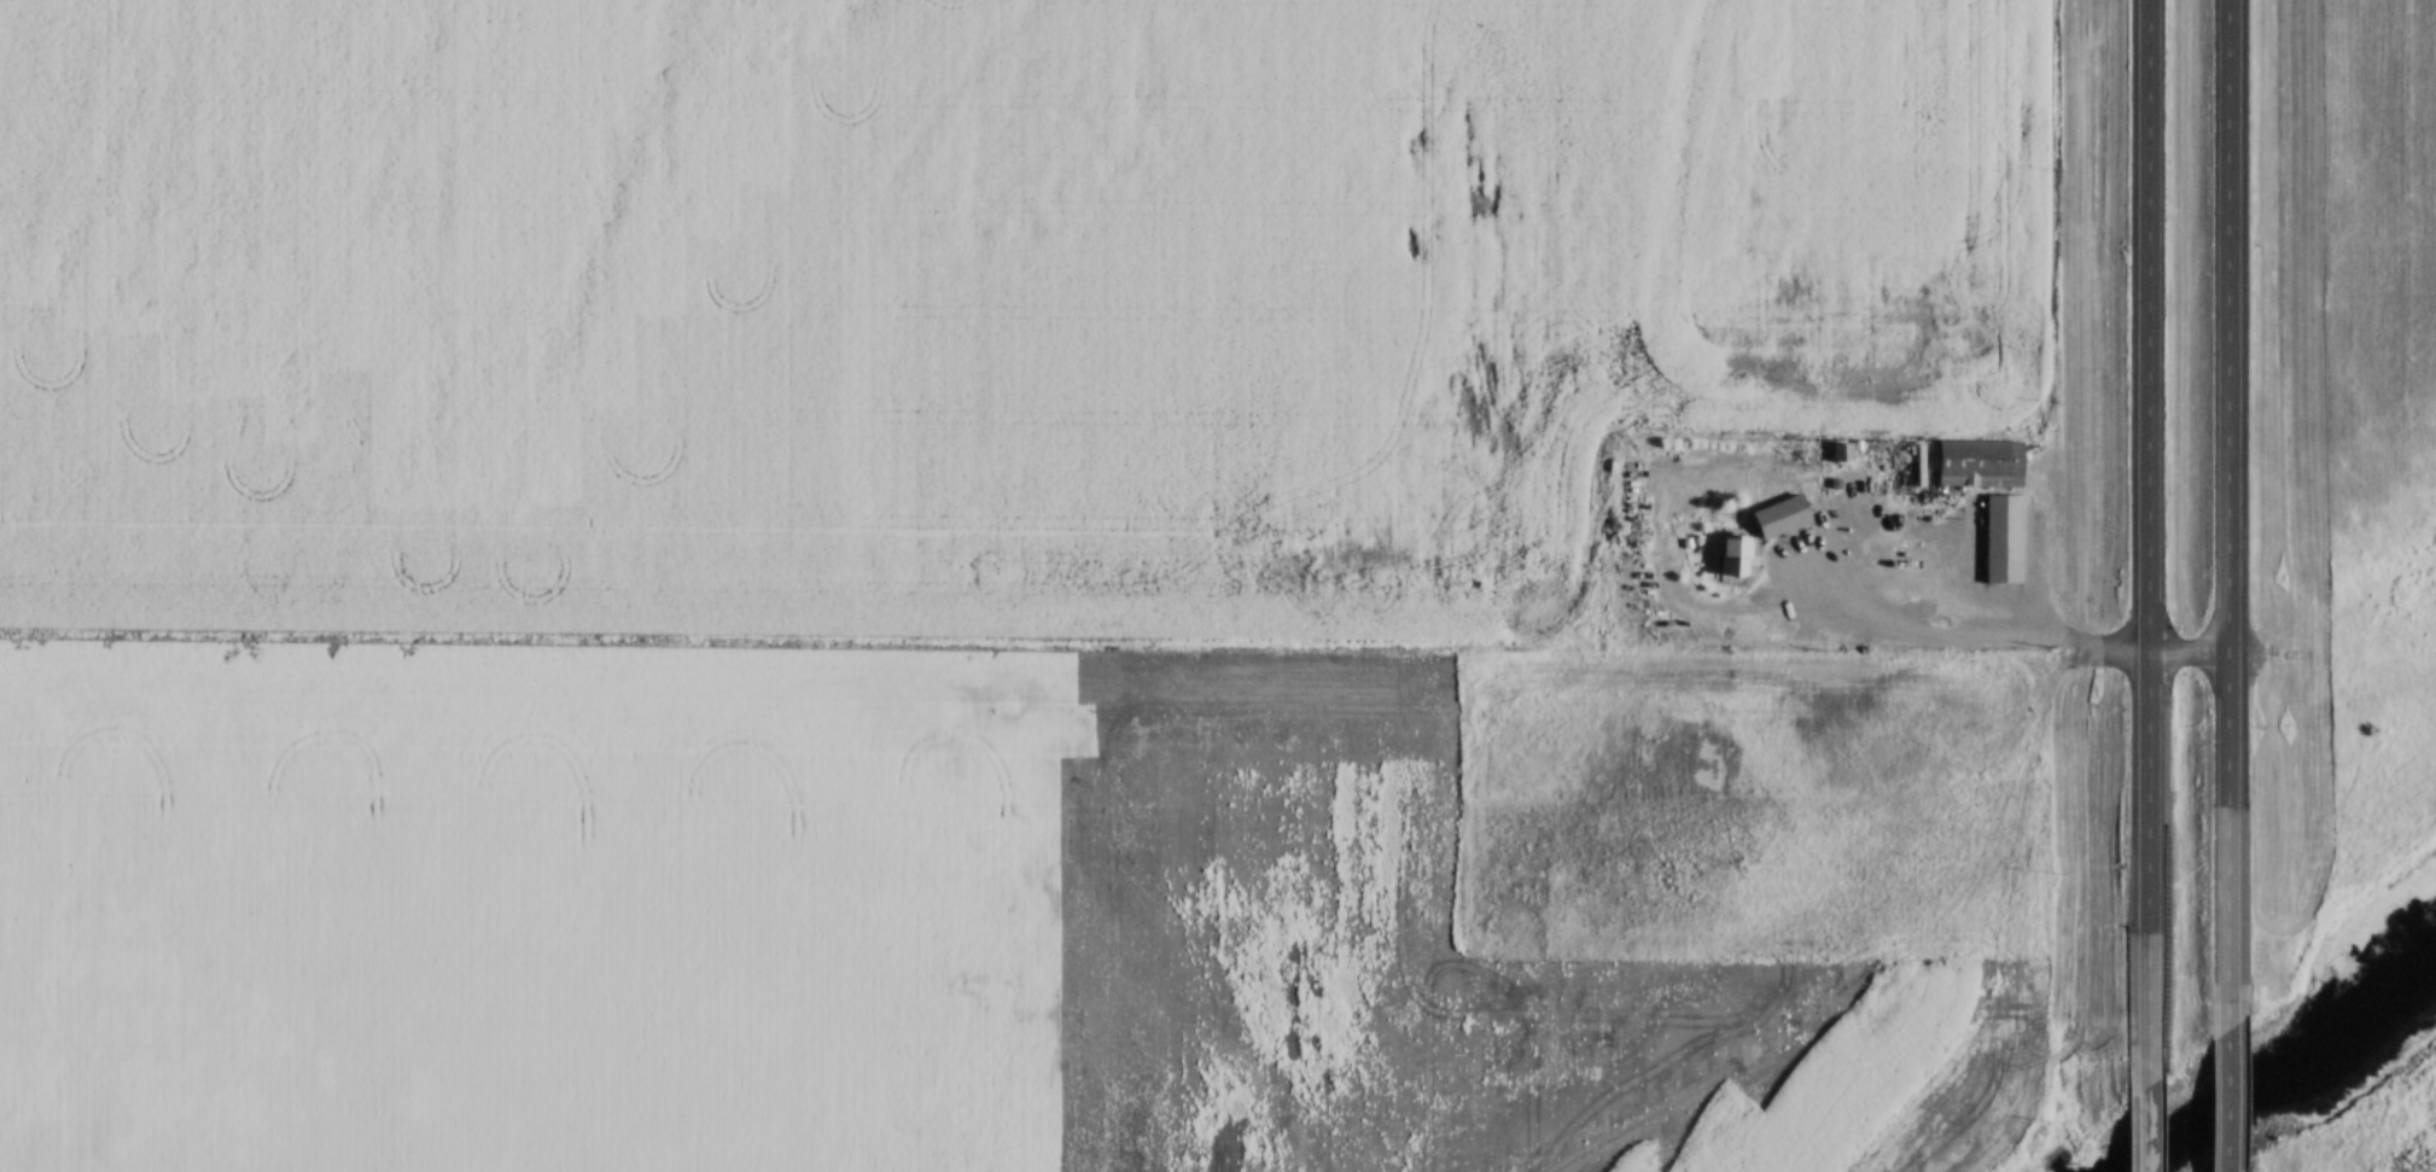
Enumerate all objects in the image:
building: (1968, 439)
building: (1977, 463)
building: (1777, 514)
road: (2219, 514)
building: (1991, 517)
road: (2132, 544)
building: (1731, 556)
river: (2294, 1067)
road: (2218, 1100)
road: (2131, 1130)

